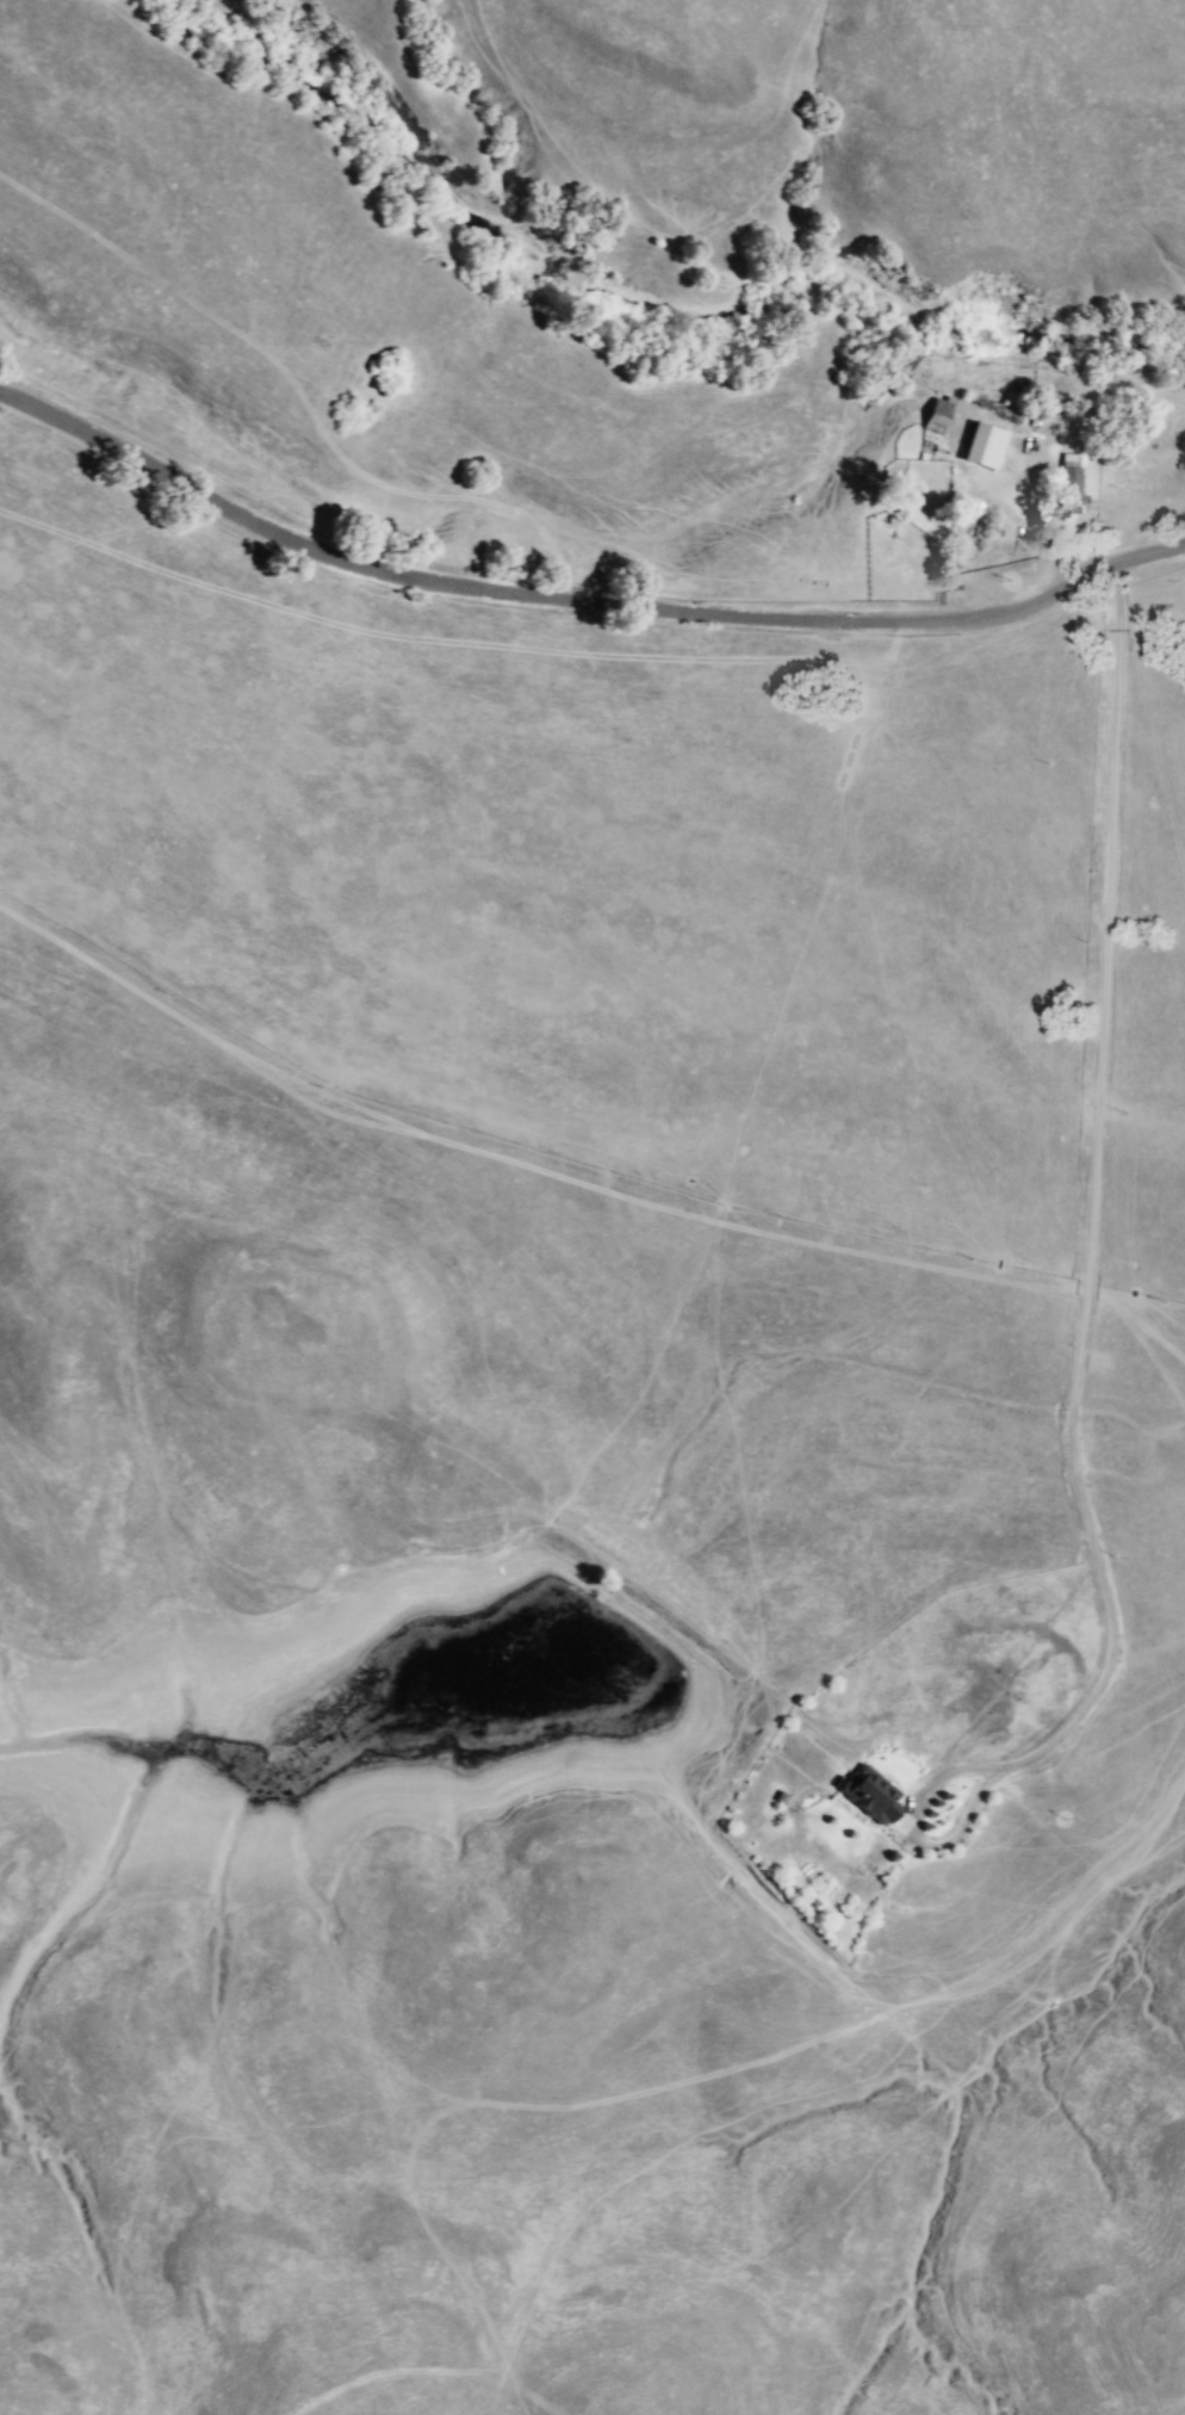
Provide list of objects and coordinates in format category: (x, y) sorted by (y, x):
river: (635, 303)
building: (984, 446)
road: (578, 601)
dam: (629, 1606)
building: (870, 1795)

